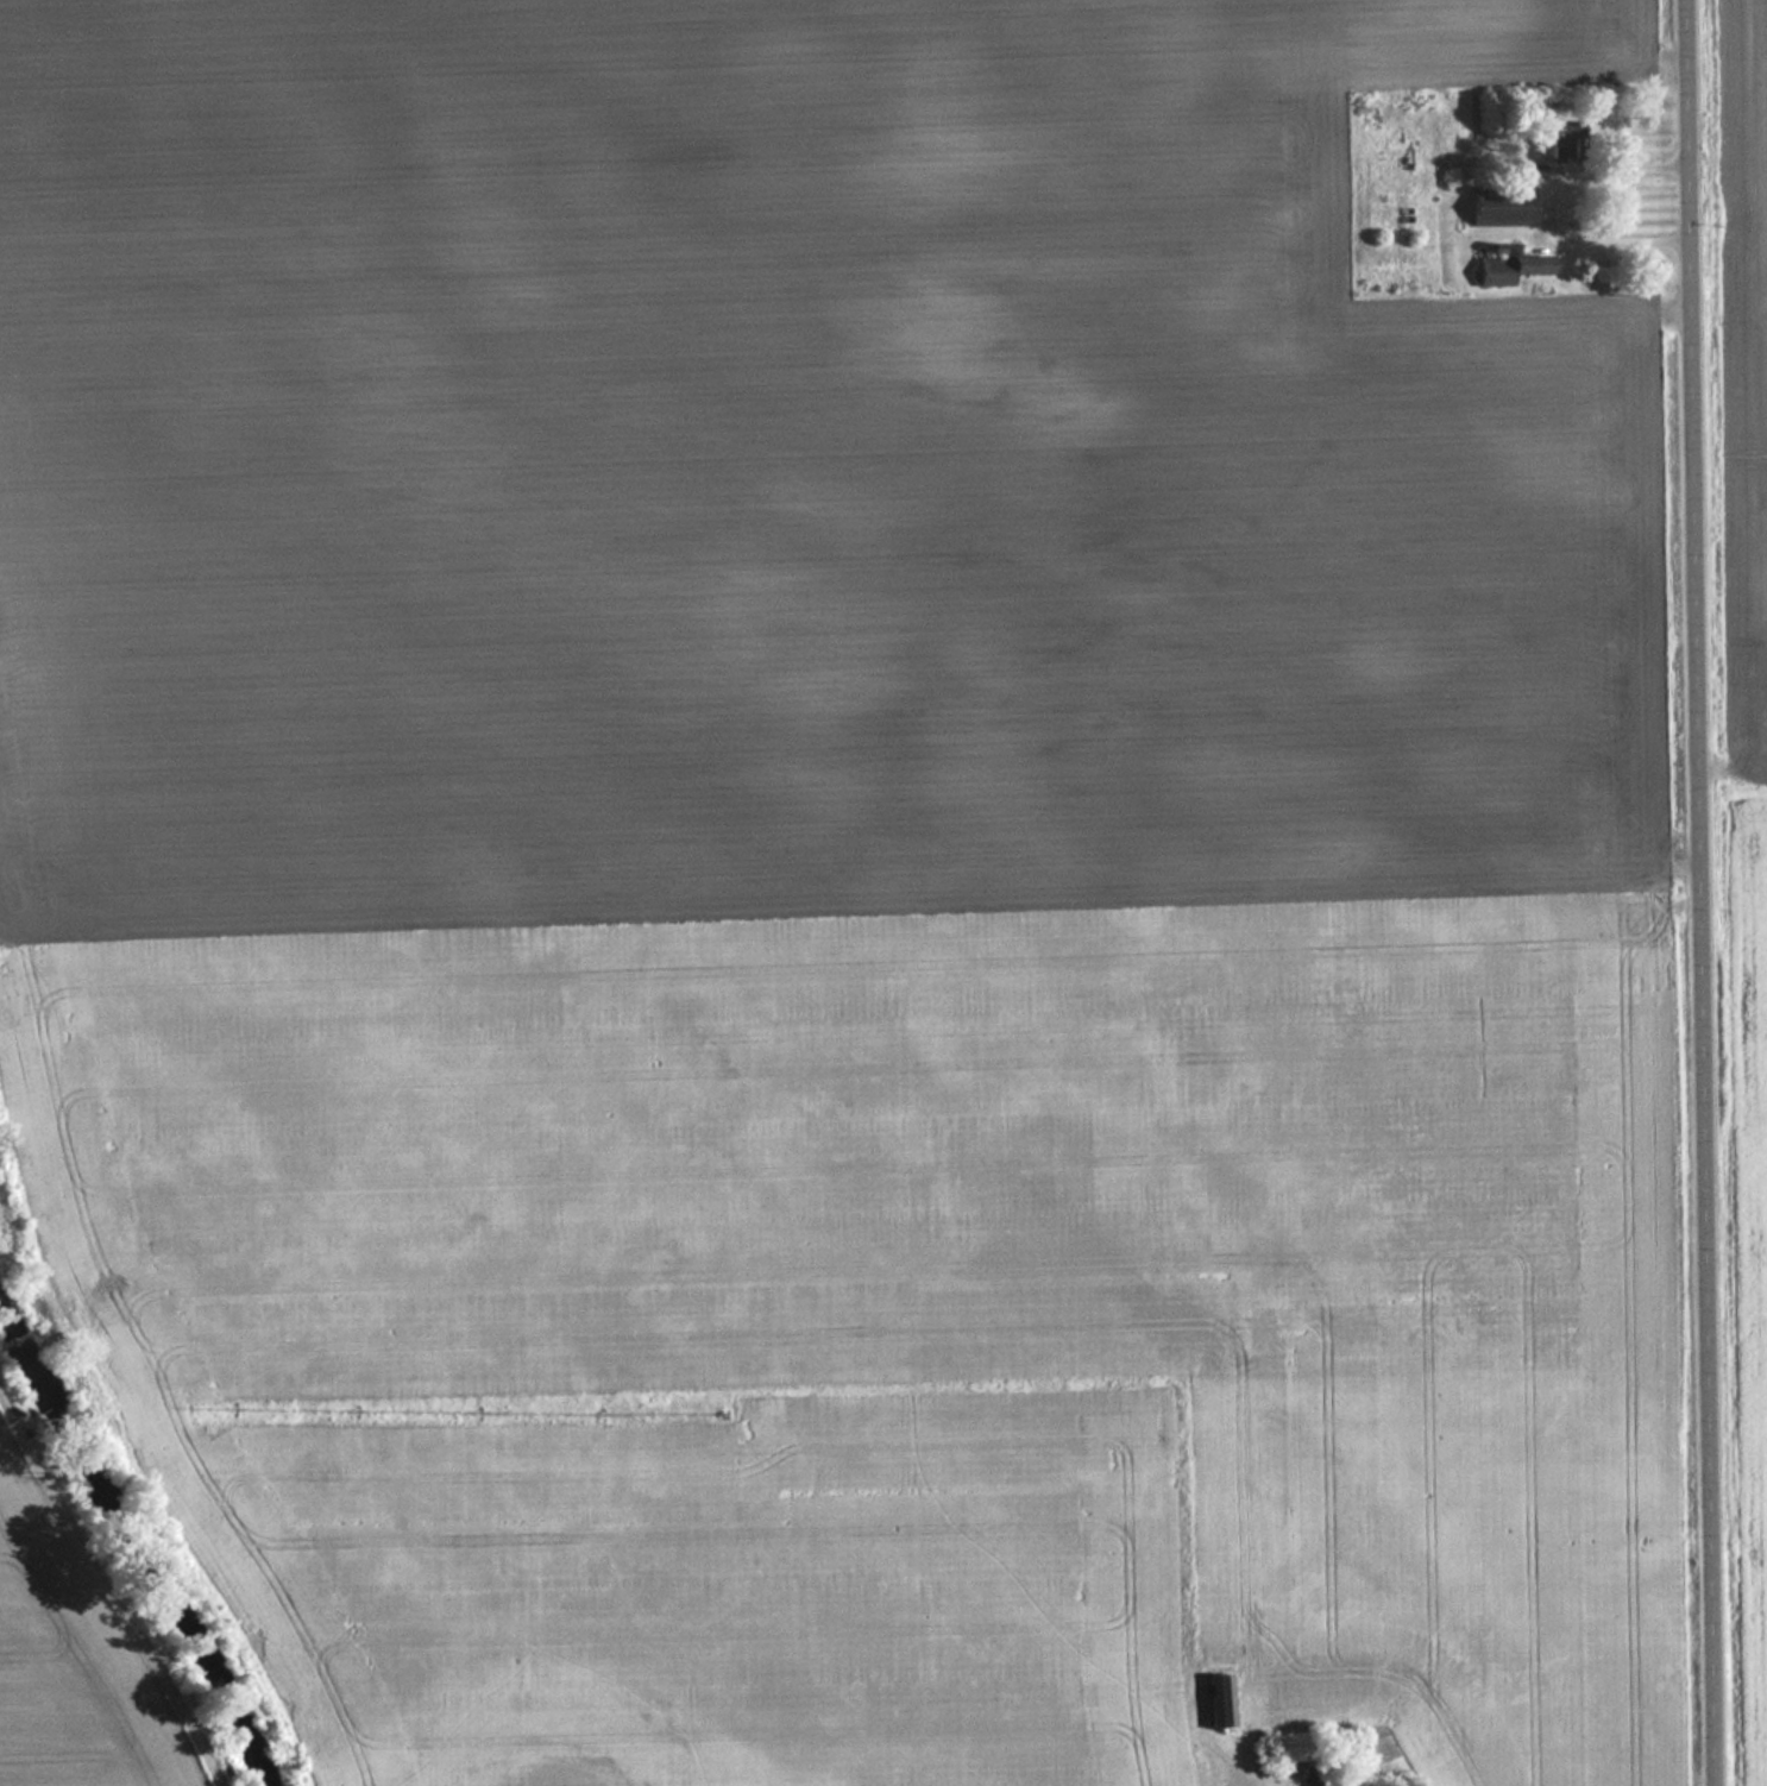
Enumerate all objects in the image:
building: (1566, 144)
building: (1503, 209)
building: (1513, 269)
road: (1703, 893)
river: (133, 1539)
building: (1221, 1702)
building: (1295, 1749)

